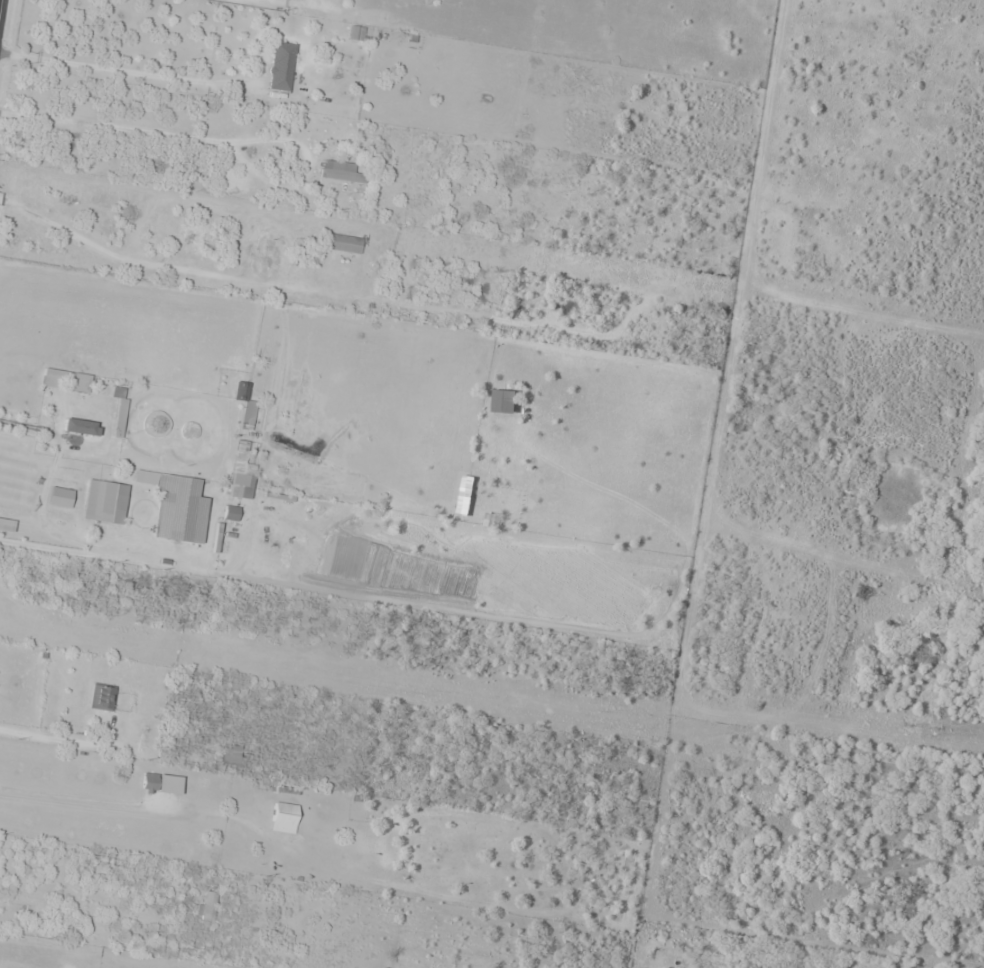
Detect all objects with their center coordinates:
building: (356, 34)
building: (281, 66)
building: (339, 172)
building: (256, 253)
building: (504, 402)
building: (119, 417)
building: (156, 423)
building: (77, 426)
building: (237, 485)
building: (108, 502)
building: (180, 518)
building: (101, 698)
building: (232, 755)
building: (149, 782)
building: (283, 818)
building: (209, 908)

